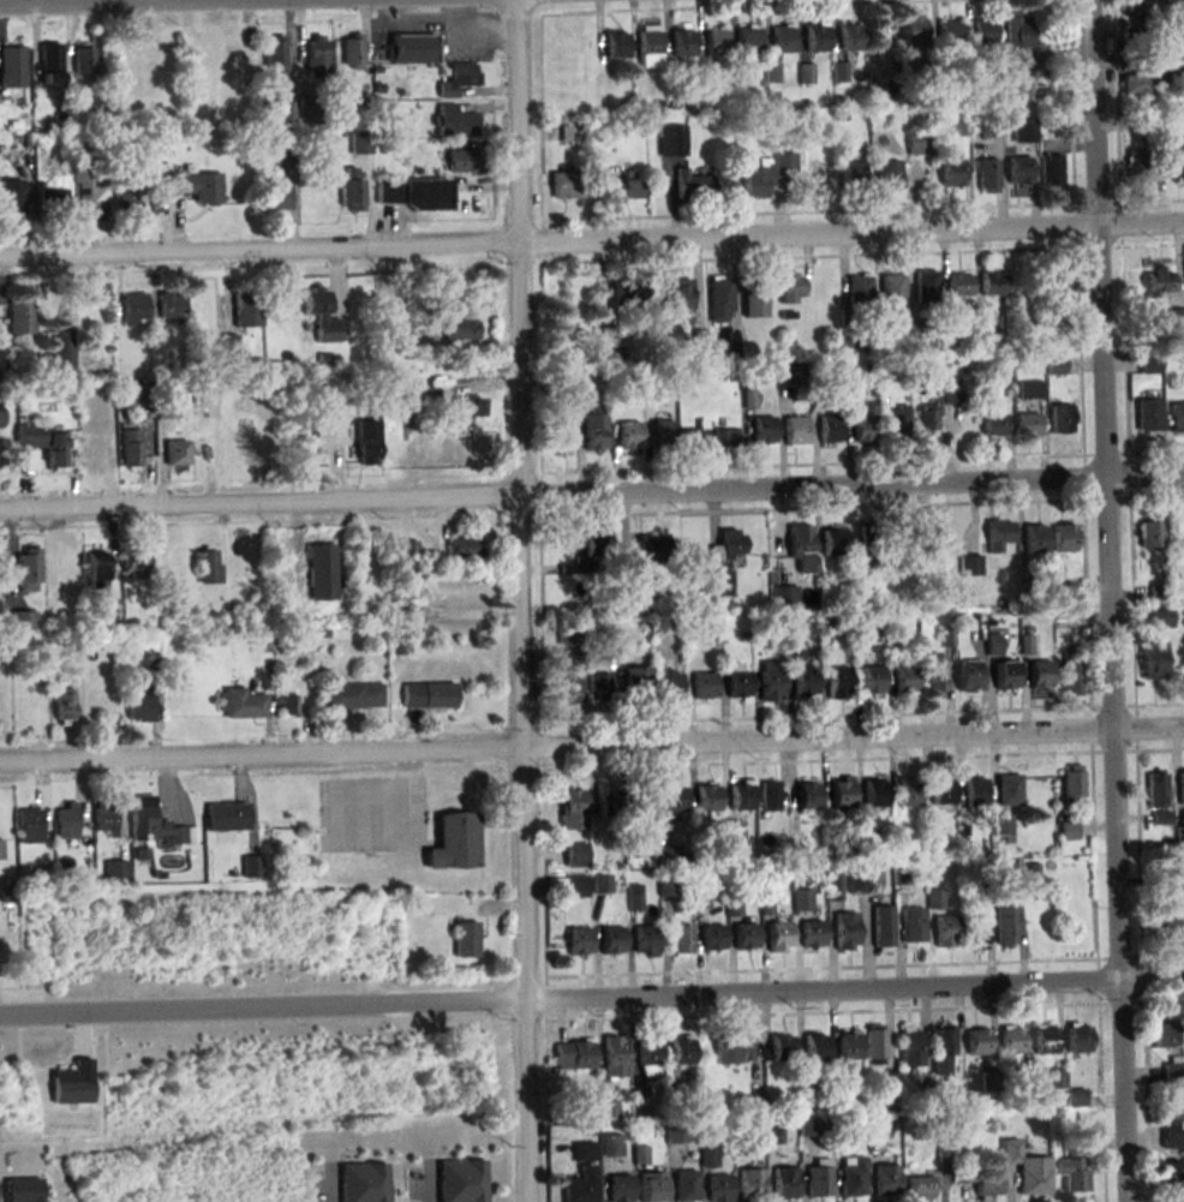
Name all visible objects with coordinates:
road: (258, 4)
building: (982, 34)
building: (950, 35)
building: (1016, 35)
building: (814, 37)
building: (848, 37)
building: (782, 38)
building: (714, 41)
building: (682, 43)
building: (748, 43)
building: (614, 46)
building: (648, 46)
building: (409, 47)
building: (911, 48)
building: (1167, 50)
building: (234, 52)
building: (351, 53)
building: (273, 55)
building: (316, 55)
building: (83, 60)
building: (50, 62)
building: (11, 66)
building: (120, 70)
building: (455, 78)
building: (1135, 79)
building: (1013, 90)
building: (80, 103)
building: (1164, 109)
building: (453, 120)
building: (957, 121)
building: (987, 126)
building: (1021, 131)
building: (671, 140)
building: (358, 142)
building: (917, 143)
building: (462, 159)
building: (784, 162)
building: (1172, 166)
building: (1135, 167)
building: (1015, 169)
building: (1050, 172)
building: (949, 173)
building: (848, 175)
building: (983, 175)
building: (886, 177)
building: (754, 180)
building: (564, 185)
building: (689, 185)
building: (90, 186)
building: (193, 186)
building: (623, 186)
building: (349, 189)
building: (124, 192)
building: (412, 192)
building: (274, 193)
building: (11, 196)
road: (592, 245)
building: (1155, 281)
building: (988, 285)
building: (956, 286)
building: (789, 288)
building: (925, 288)
building: (1053, 288)
building: (627, 292)
building: (891, 293)
building: (674, 295)
building: (718, 299)
building: (752, 301)
building: (172, 309)
building: (246, 309)
building: (854, 309)
building: (134, 310)
building: (18, 315)
building: (319, 315)
building: (1176, 318)
building: (987, 327)
building: (951, 328)
building: (461, 329)
building: (921, 339)
building: (229, 345)
building: (62, 352)
building: (1054, 365)
building: (784, 375)
building: (1028, 389)
building: (947, 391)
building: (581, 397)
building: (461, 407)
building: (166, 408)
building: (1146, 414)
building: (1176, 417)
building: (1058, 419)
building: (896, 423)
building: (1024, 424)
building: (992, 425)
building: (922, 426)
building: (861, 427)
building: (827, 429)
building: (760, 430)
building: (794, 430)
building: (593, 431)
building: (658, 436)
building: (560, 437)
building: (724, 437)
building: (627, 438)
building: (692, 438)
building: (365, 442)
building: (44, 443)
building: (462, 444)
building: (128, 448)
building: (92, 450)
building: (175, 453)
road: (592, 497)
building: (1179, 532)
building: (997, 534)
building: (1147, 534)
building: (1033, 538)
building: (1062, 538)
building: (931, 539)
building: (799, 542)
building: (831, 542)
building: (869, 545)
building: (725, 546)
building: (461, 549)
building: (592, 552)
building: (651, 552)
building: (64, 563)
building: (132, 563)
building: (968, 566)
building: (208, 567)
building: (25, 570)
building: (319, 572)
building: (94, 573)
building: (717, 582)
building: (1059, 592)
road: (530, 600)
road: (1112, 600)
building: (0, 608)
building: (1158, 618)
building: (22, 622)
building: (567, 632)
building: (991, 645)
building: (1150, 659)
building: (1069, 671)
building: (932, 674)
building: (1036, 674)
building: (1003, 675)
building: (567, 676)
building: (964, 676)
building: (769, 680)
building: (868, 680)
building: (902, 680)
building: (802, 682)
building: (635, 683)
building: (668, 683)
building: (736, 683)
building: (836, 683)
building: (701, 686)
building: (598, 688)
building: (349, 696)
building: (426, 696)
building: (137, 702)
building: (240, 704)
building: (288, 705)
building: (62, 707)
road: (592, 754)
building: (1071, 784)
building: (1007, 790)
building: (839, 791)
building: (939, 791)
building: (1155, 791)
building: (907, 793)
building: (970, 793)
building: (873, 794)
building: (1180, 794)
building: (737, 795)
building: (767, 795)
building: (806, 795)
building: (670, 799)
building: (705, 799)
building: (603, 800)
building: (639, 800)
building: (572, 809)
building: (102, 817)
building: (225, 818)
building: (65, 821)
building: (155, 825)
building: (26, 826)
building: (732, 831)
building: (1068, 831)
building: (1180, 837)
building: (453, 843)
building: (0, 850)
building: (574, 854)
building: (666, 855)
building: (250, 867)
building: (869, 874)
building: (899, 874)
building: (600, 883)
building: (668, 884)
building: (573, 886)
building: (832, 887)
building: (699, 898)
building: (934, 899)
building: (801, 901)
building: (1005, 922)
building: (1161, 922)
building: (1183, 922)
building: (911, 926)
building: (880, 929)
building: (843, 931)
building: (943, 931)
building: (808, 933)
building: (974, 934)
building: (743, 937)
building: (777, 937)
building: (710, 938)
building: (465, 939)
building: (610, 939)
building: (680, 939)
building: (576, 940)
building: (642, 940)
road: (592, 1007)
building: (1165, 1035)
building: (1076, 1039)
building: (1010, 1040)
building: (1044, 1040)
building: (976, 1042)
building: (847, 1046)
building: (874, 1046)
building: (731, 1047)
building: (779, 1048)
building: (814, 1048)
building: (910, 1048)
building: (941, 1049)
building: (680, 1051)
building: (573, 1056)
building: (614, 1057)
building: (647, 1057)
building: (1172, 1072)
building: (1022, 1080)
building: (989, 1082)
building: (68, 1084)
building: (751, 1107)
building: (809, 1126)
building: (878, 1128)
building: (1171, 1136)
building: (1072, 1143)
building: (610, 1146)
building: (580, 1152)
building: (707, 1159)
building: (1025, 1170)
building: (1071, 1174)
building: (851, 1177)
building: (1167, 1177)
building: (819, 1178)
building: (885, 1180)
building: (979, 1182)
building: (784, 1184)
building: (579, 1185)
building: (751, 1185)
building: (648, 1186)
building: (683, 1186)
building: (919, 1188)
building: (617, 1189)
building: (718, 1189)
building: (20, 1190)

